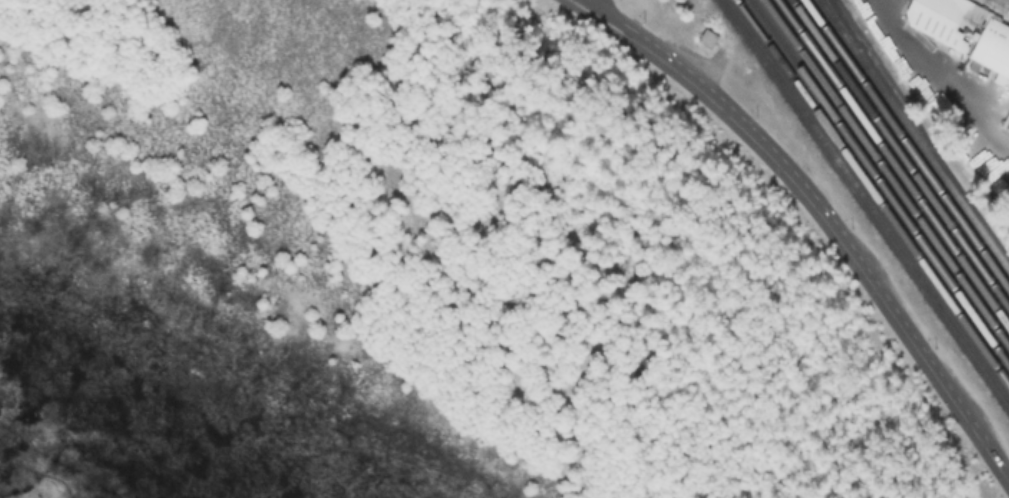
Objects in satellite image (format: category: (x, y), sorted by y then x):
road: (603, 5)
railway: (994, 7)
railway: (838, 26)
building: (963, 32)
building: (707, 40)
road: (940, 75)
building: (1005, 122)
railway: (913, 136)
railway: (907, 145)
railway: (900, 154)
railway: (893, 164)
railway: (886, 174)
railway: (879, 183)
railway: (872, 194)
railway: (865, 203)
road: (824, 210)
road: (816, 216)

